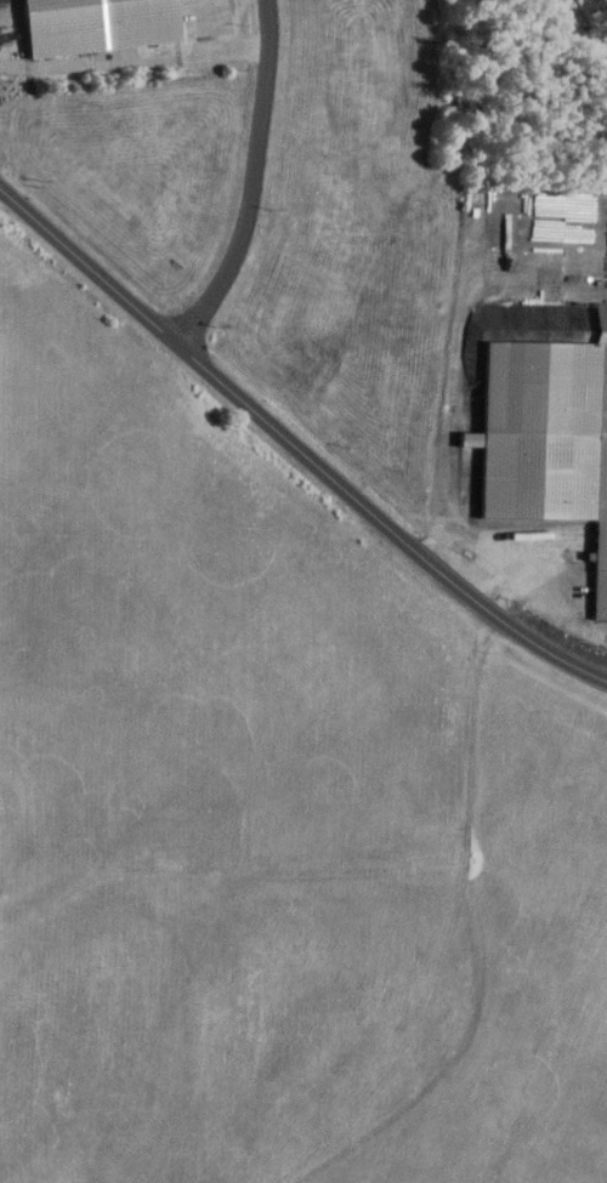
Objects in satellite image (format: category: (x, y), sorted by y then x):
building: (101, 23)
road: (217, 47)
road: (110, 62)
road: (255, 180)
building: (596, 334)
building: (546, 436)
road: (294, 443)
road: (446, 450)
road: (522, 582)

